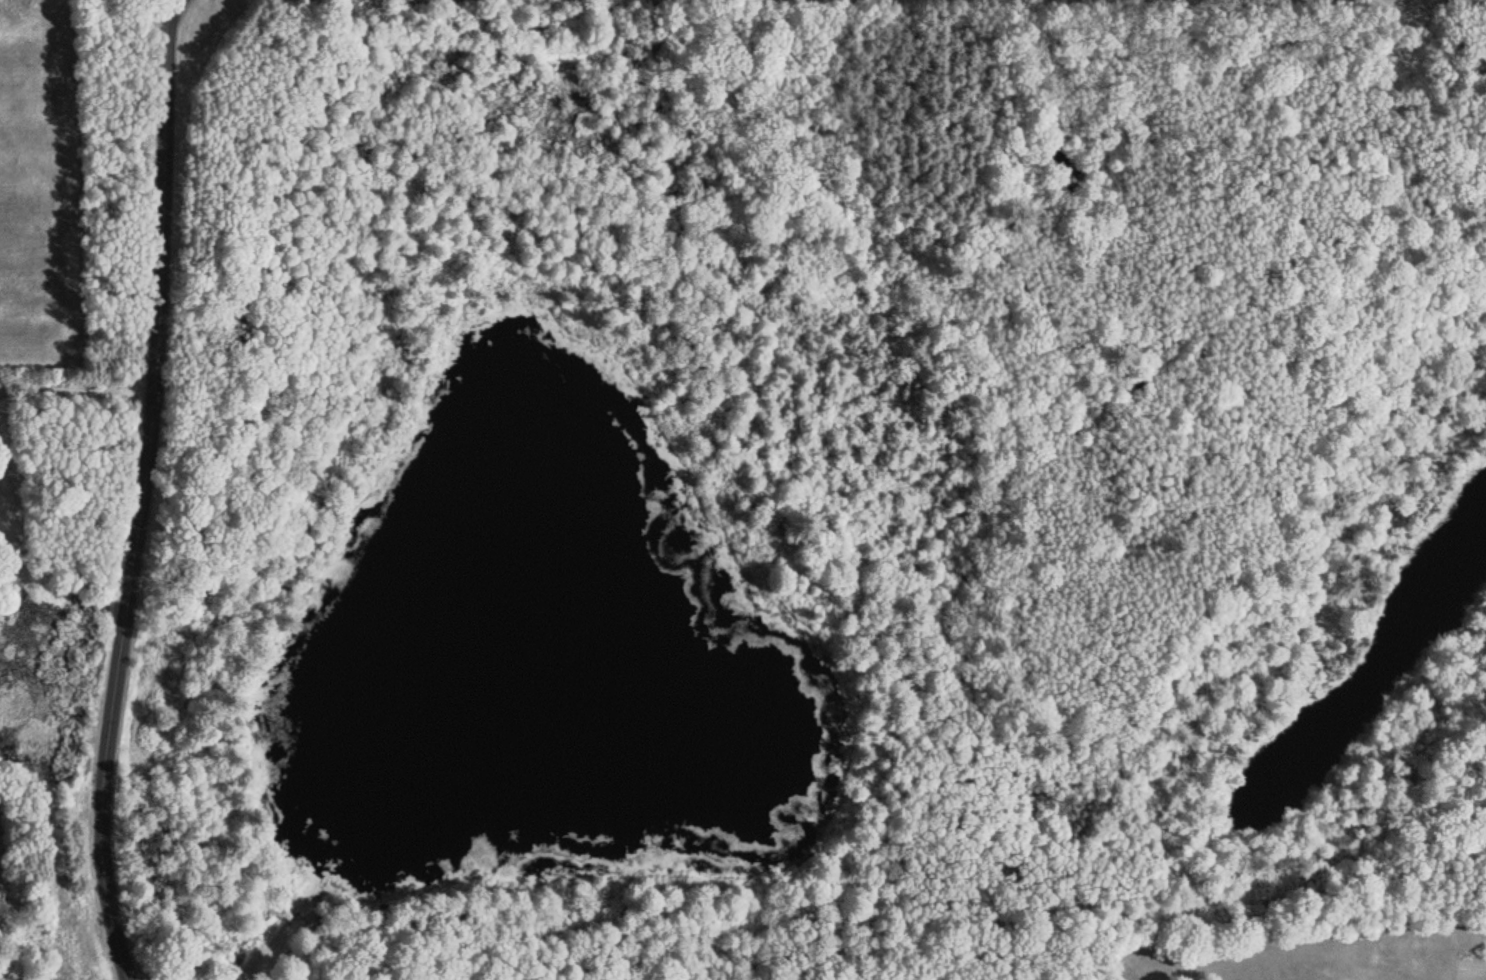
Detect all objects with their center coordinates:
road: (74, 391)
road: (137, 492)

